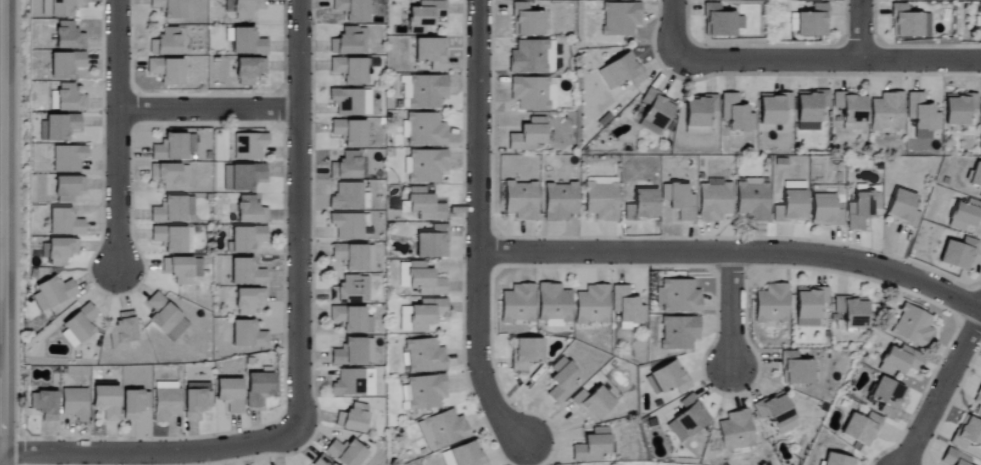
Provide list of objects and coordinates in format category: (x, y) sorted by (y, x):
building: (822, 0)
building: (905, 0)
building: (980, 0)
building: (64, 7)
building: (169, 8)
building: (245, 8)
building: (351, 10)
building: (425, 13)
building: (620, 18)
building: (525, 20)
building: (979, 21)
building: (813, 22)
building: (908, 23)
road: (859, 30)
building: (418, 31)
road: (673, 34)
building: (67, 37)
building: (349, 41)
building: (165, 42)
building: (246, 42)
building: (430, 53)
building: (530, 57)
road: (835, 61)
building: (64, 65)
building: (248, 70)
building: (348, 70)
building: (165, 71)
building: (621, 72)
building: (424, 91)
building: (532, 93)
building: (68, 98)
building: (350, 102)
building: (773, 108)
building: (958, 108)
road: (208, 109)
building: (850, 109)
building: (809, 110)
building: (655, 112)
building: (886, 112)
building: (735, 113)
building: (698, 114)
building: (921, 116)
building: (59, 126)
building: (423, 129)
building: (349, 132)
building: (528, 135)
road: (117, 137)
building: (248, 146)
building: (172, 148)
building: (67, 158)
building: (424, 166)
building: (347, 167)
building: (169, 176)
building: (976, 176)
building: (242, 177)
building: (67, 189)
building: (980, 196)
building: (346, 197)
building: (601, 198)
building: (752, 199)
building: (521, 201)
building: (560, 201)
building: (679, 201)
building: (714, 201)
building: (424, 205)
building: (641, 206)
building: (790, 207)
building: (902, 208)
building: (861, 209)
building: (172, 210)
building: (249, 211)
building: (824, 211)
road: (299, 212)
building: (965, 215)
building: (63, 223)
building: (347, 226)
road: (476, 230)
road: (2, 232)
building: (246, 238)
building: (169, 239)
building: (432, 243)
building: (58, 251)
road: (733, 251)
building: (959, 254)
building: (354, 257)
building: (178, 270)
building: (245, 273)
building: (402, 275)
building: (424, 280)
building: (350, 290)
building: (52, 292)
building: (678, 297)
building: (248, 301)
building: (517, 304)
building: (771, 304)
building: (553, 305)
building: (592, 305)
building: (809, 305)
building: (626, 306)
building: (851, 311)
road: (730, 312)
building: (421, 315)
building: (165, 318)
building: (351, 320)
building: (79, 324)
building: (913, 327)
building: (122, 332)
building: (678, 333)
building: (247, 335)
building: (353, 353)
building: (525, 354)
building: (423, 356)
building: (900, 361)
building: (795, 370)
building: (667, 379)
building: (561, 382)
building: (369, 383)
building: (348, 384)
building: (257, 389)
road: (942, 389)
building: (423, 392)
building: (229, 394)
building: (888, 397)
building: (195, 400)
building: (164, 401)
building: (105, 402)
building: (592, 403)
building: (978, 403)
building: (74, 404)
building: (133, 404)
building: (43, 405)
building: (776, 413)
building: (352, 418)
building: (687, 419)
building: (861, 429)
building: (442, 430)
building: (735, 431)
building: (967, 434)
building: (591, 446)
road: (153, 453)
building: (345, 453)
building: (466, 455)
building: (955, 458)
building: (838, 460)
building: (321, 461)

